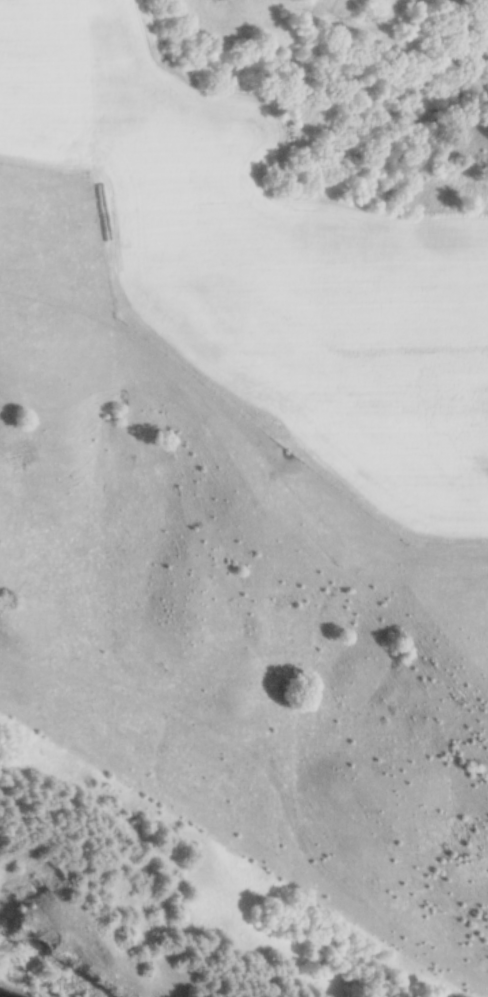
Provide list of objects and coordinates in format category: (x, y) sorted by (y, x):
road: (247, 837)

